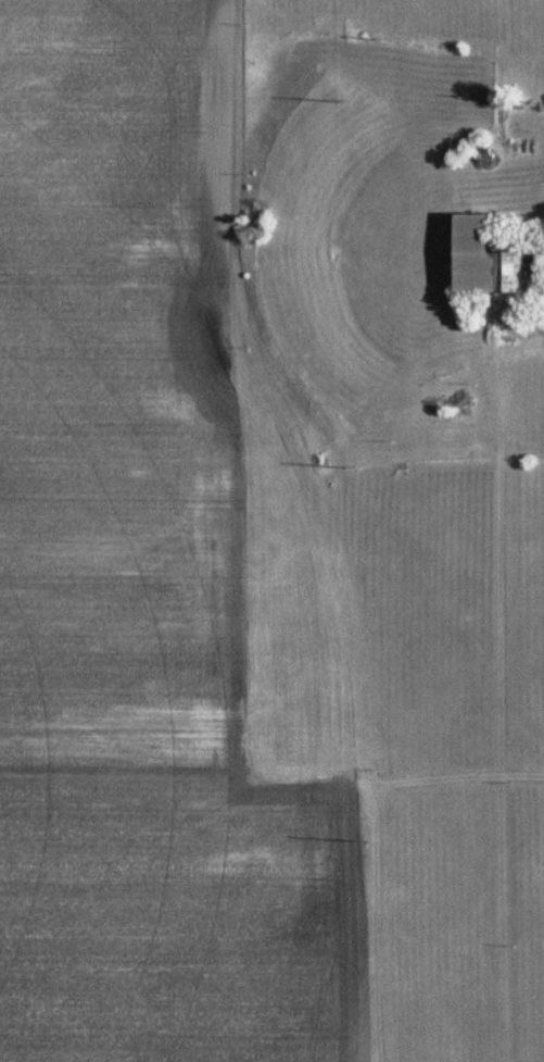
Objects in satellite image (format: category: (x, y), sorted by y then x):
building: (490, 260)

